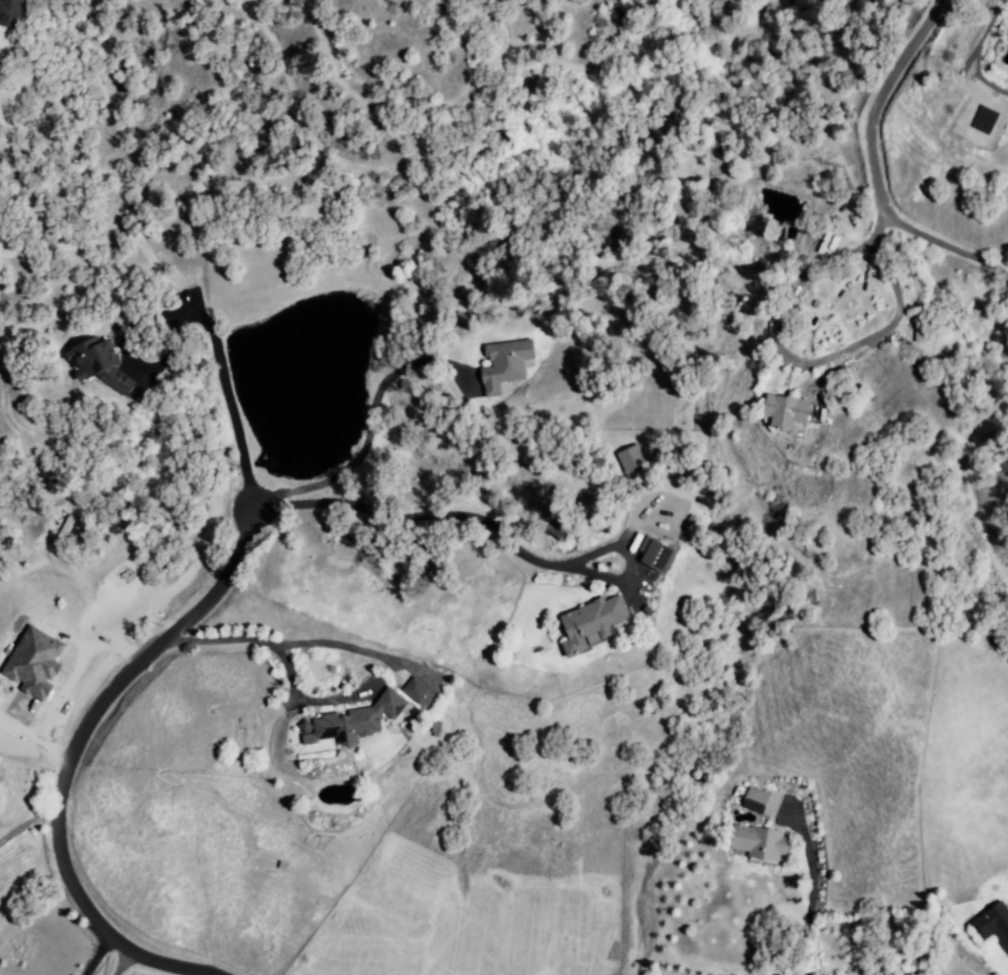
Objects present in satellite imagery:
building: (9, 12)
road: (871, 169)
road: (195, 315)
road: (819, 359)
building: (97, 364)
building: (504, 364)
building: (785, 411)
road: (367, 429)
building: (631, 459)
road: (486, 527)
building: (656, 554)
building: (590, 623)
road: (282, 642)
building: (415, 690)
building: (352, 721)
road: (67, 754)
building: (754, 800)
road: (24, 822)
building: (760, 843)
road: (809, 901)
building: (992, 925)
road: (95, 956)
road: (121, 963)

